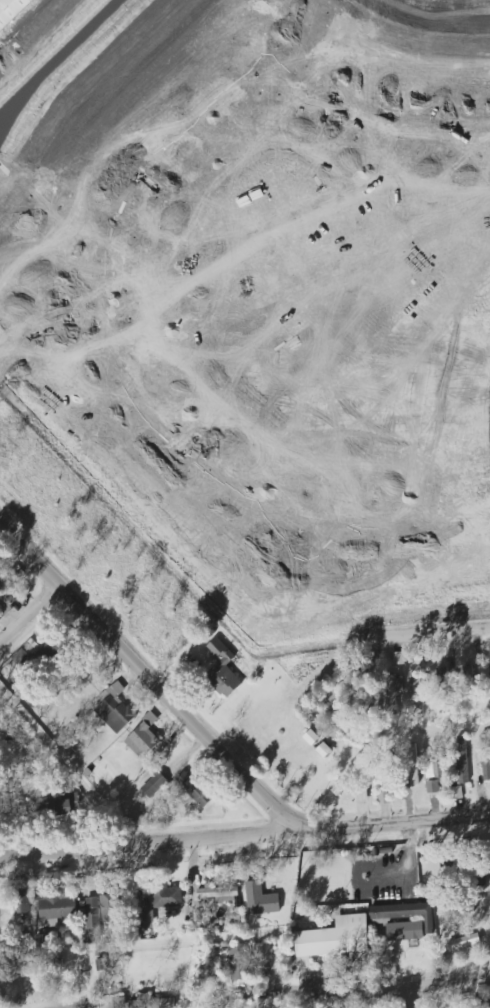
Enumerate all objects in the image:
building: (11, 10)
road: (113, 279)
road: (52, 314)
road: (393, 330)
road: (297, 551)
building: (6, 598)
road: (30, 612)
road: (434, 635)
building: (40, 654)
building: (399, 658)
building: (223, 671)
building: (442, 677)
road: (149, 679)
building: (393, 693)
building: (419, 693)
building: (339, 695)
building: (115, 709)
building: (476, 729)
building: (451, 732)
building: (143, 738)
building: (324, 750)
building: (486, 755)
building: (462, 759)
building: (435, 763)
building: (413, 764)
building: (389, 770)
building: (154, 784)
building: (432, 786)
building: (194, 789)
building: (457, 792)
building: (361, 796)
building: (59, 805)
road: (245, 842)
building: (218, 893)
building: (167, 896)
building: (261, 900)
building: (21, 904)
building: (111, 907)
building: (57, 909)
building: (404, 914)
building: (146, 919)
building: (93, 920)
building: (405, 931)
building: (335, 936)
building: (48, 940)
building: (464, 942)
building: (238, 962)
road: (391, 991)
road: (289, 999)
road: (410, 999)
building: (143, 1001)
road: (81, 1007)
road: (87, 1007)
building: (488, 1007)

